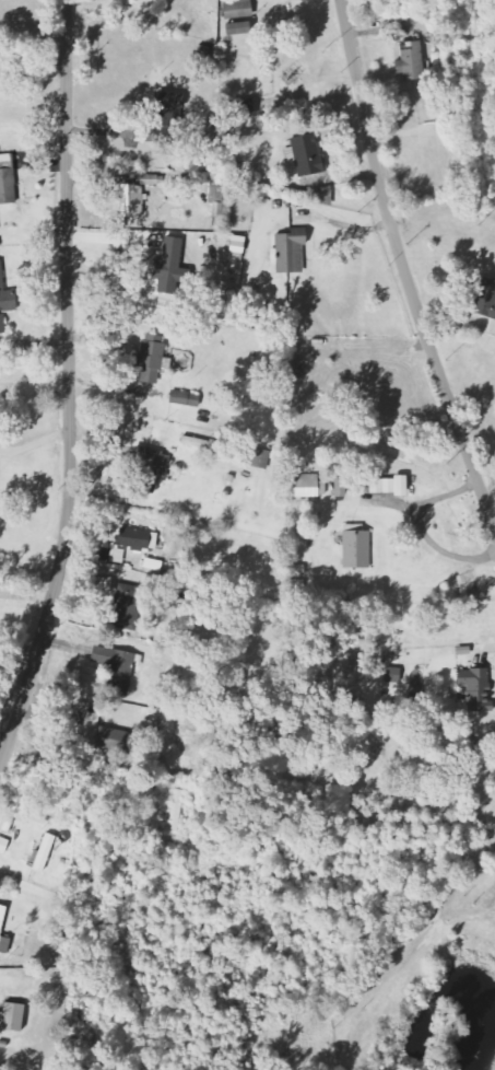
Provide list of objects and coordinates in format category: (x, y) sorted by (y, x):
building: (235, 8)
building: (235, 27)
building: (409, 60)
building: (243, 106)
building: (169, 117)
building: (308, 154)
building: (8, 178)
building: (133, 200)
building: (239, 247)
building: (293, 252)
building: (174, 267)
road: (403, 268)
building: (8, 293)
building: (486, 300)
building: (3, 323)
building: (155, 358)
road: (69, 385)
building: (188, 398)
building: (152, 469)
building: (385, 485)
building: (405, 485)
building: (309, 486)
building: (343, 487)
building: (138, 538)
building: (358, 549)
building: (118, 555)
building: (130, 606)
building: (119, 668)
building: (479, 688)
building: (118, 735)
building: (46, 852)
building: (4, 930)
building: (16, 1016)

